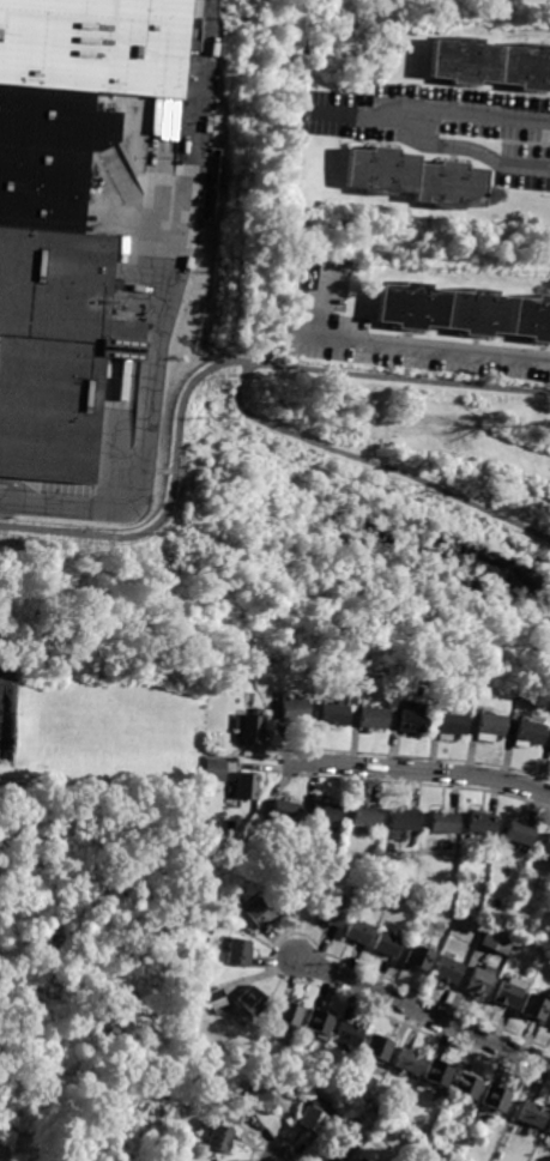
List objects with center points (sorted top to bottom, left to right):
building: (93, 44)
building: (491, 78)
road: (198, 81)
road: (473, 114)
road: (434, 143)
building: (48, 152)
building: (416, 191)
road: (186, 210)
road: (326, 303)
building: (465, 320)
building: (55, 347)
road: (436, 352)
road: (242, 401)
park: (416, 431)
road: (144, 447)
road: (18, 489)
road: (171, 503)
building: (319, 694)
building: (521, 697)
building: (358, 702)
building: (297, 709)
building: (336, 715)
building: (416, 719)
building: (376, 720)
building: (453, 726)
building: (250, 728)
building: (491, 728)
building: (532, 734)
building: (549, 749)
road: (298, 756)
road: (428, 758)
road: (297, 768)
building: (217, 770)
road: (423, 773)
road: (427, 784)
building: (249, 787)
road: (170, 808)
building: (289, 814)
building: (328, 814)
building: (368, 817)
building: (407, 821)
building: (446, 824)
building: (484, 826)
building: (522, 834)
building: (545, 855)
building: (266, 913)
building: (332, 914)
road: (283, 925)
building: (482, 925)
building: (361, 932)
building: (500, 942)
road: (283, 944)
building: (388, 944)
building: (521, 947)
building: (242, 953)
road: (260, 953)
road: (272, 954)
building: (421, 959)
road: (276, 961)
building: (448, 970)
building: (481, 982)
building: (509, 992)
building: (219, 999)
building: (254, 1000)
building: (537, 1010)
road: (425, 1014)
building: (292, 1016)
building: (321, 1026)
building: (549, 1026)
building: (349, 1035)
building: (380, 1048)
building: (411, 1062)
building: (441, 1075)
building: (470, 1088)
building: (497, 1100)
building: (262, 1101)
road: (513, 1111)
building: (319, 1115)
building: (533, 1115)
building: (549, 1132)
road: (278, 1138)
building: (223, 1139)
building: (345, 1149)
building: (363, 1160)

